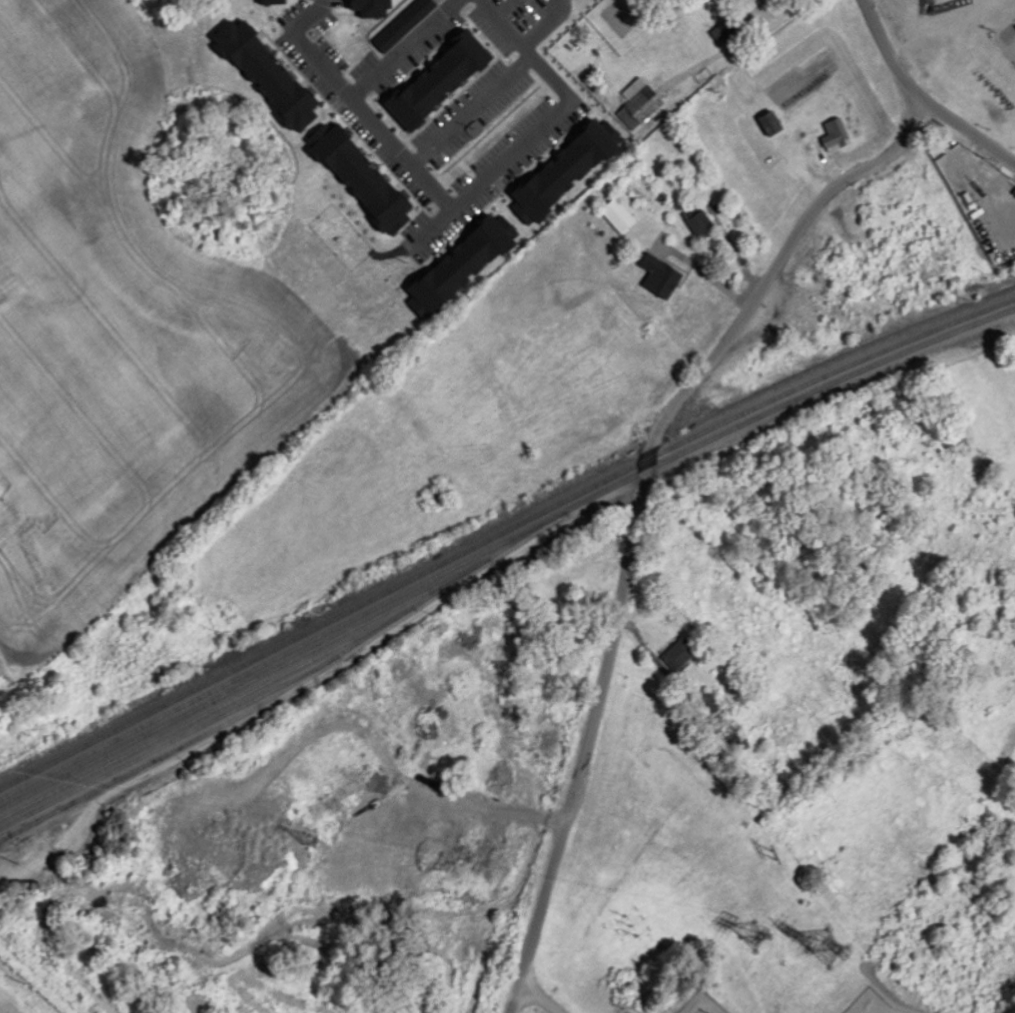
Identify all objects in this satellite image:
building: (271, 0)
building: (366, 7)
road: (548, 24)
building: (401, 29)
building: (729, 31)
building: (263, 78)
building: (439, 79)
road: (354, 88)
road: (921, 95)
building: (637, 103)
road: (474, 111)
crop: (789, 116)
building: (768, 125)
building: (840, 134)
road: (502, 160)
building: (564, 179)
building: (361, 181)
building: (616, 218)
building: (701, 221)
building: (456, 270)
building: (664, 275)
crop: (124, 335)
crop: (489, 392)
road: (639, 508)
railway: (501, 533)
railway: (502, 545)
building: (681, 654)
railway: (244, 686)
railway: (290, 688)
railway: (208, 713)
railway: (170, 741)
power tower: (755, 937)
power tower: (827, 950)
power substation: (868, 1003)
power substation: (704, 1004)

